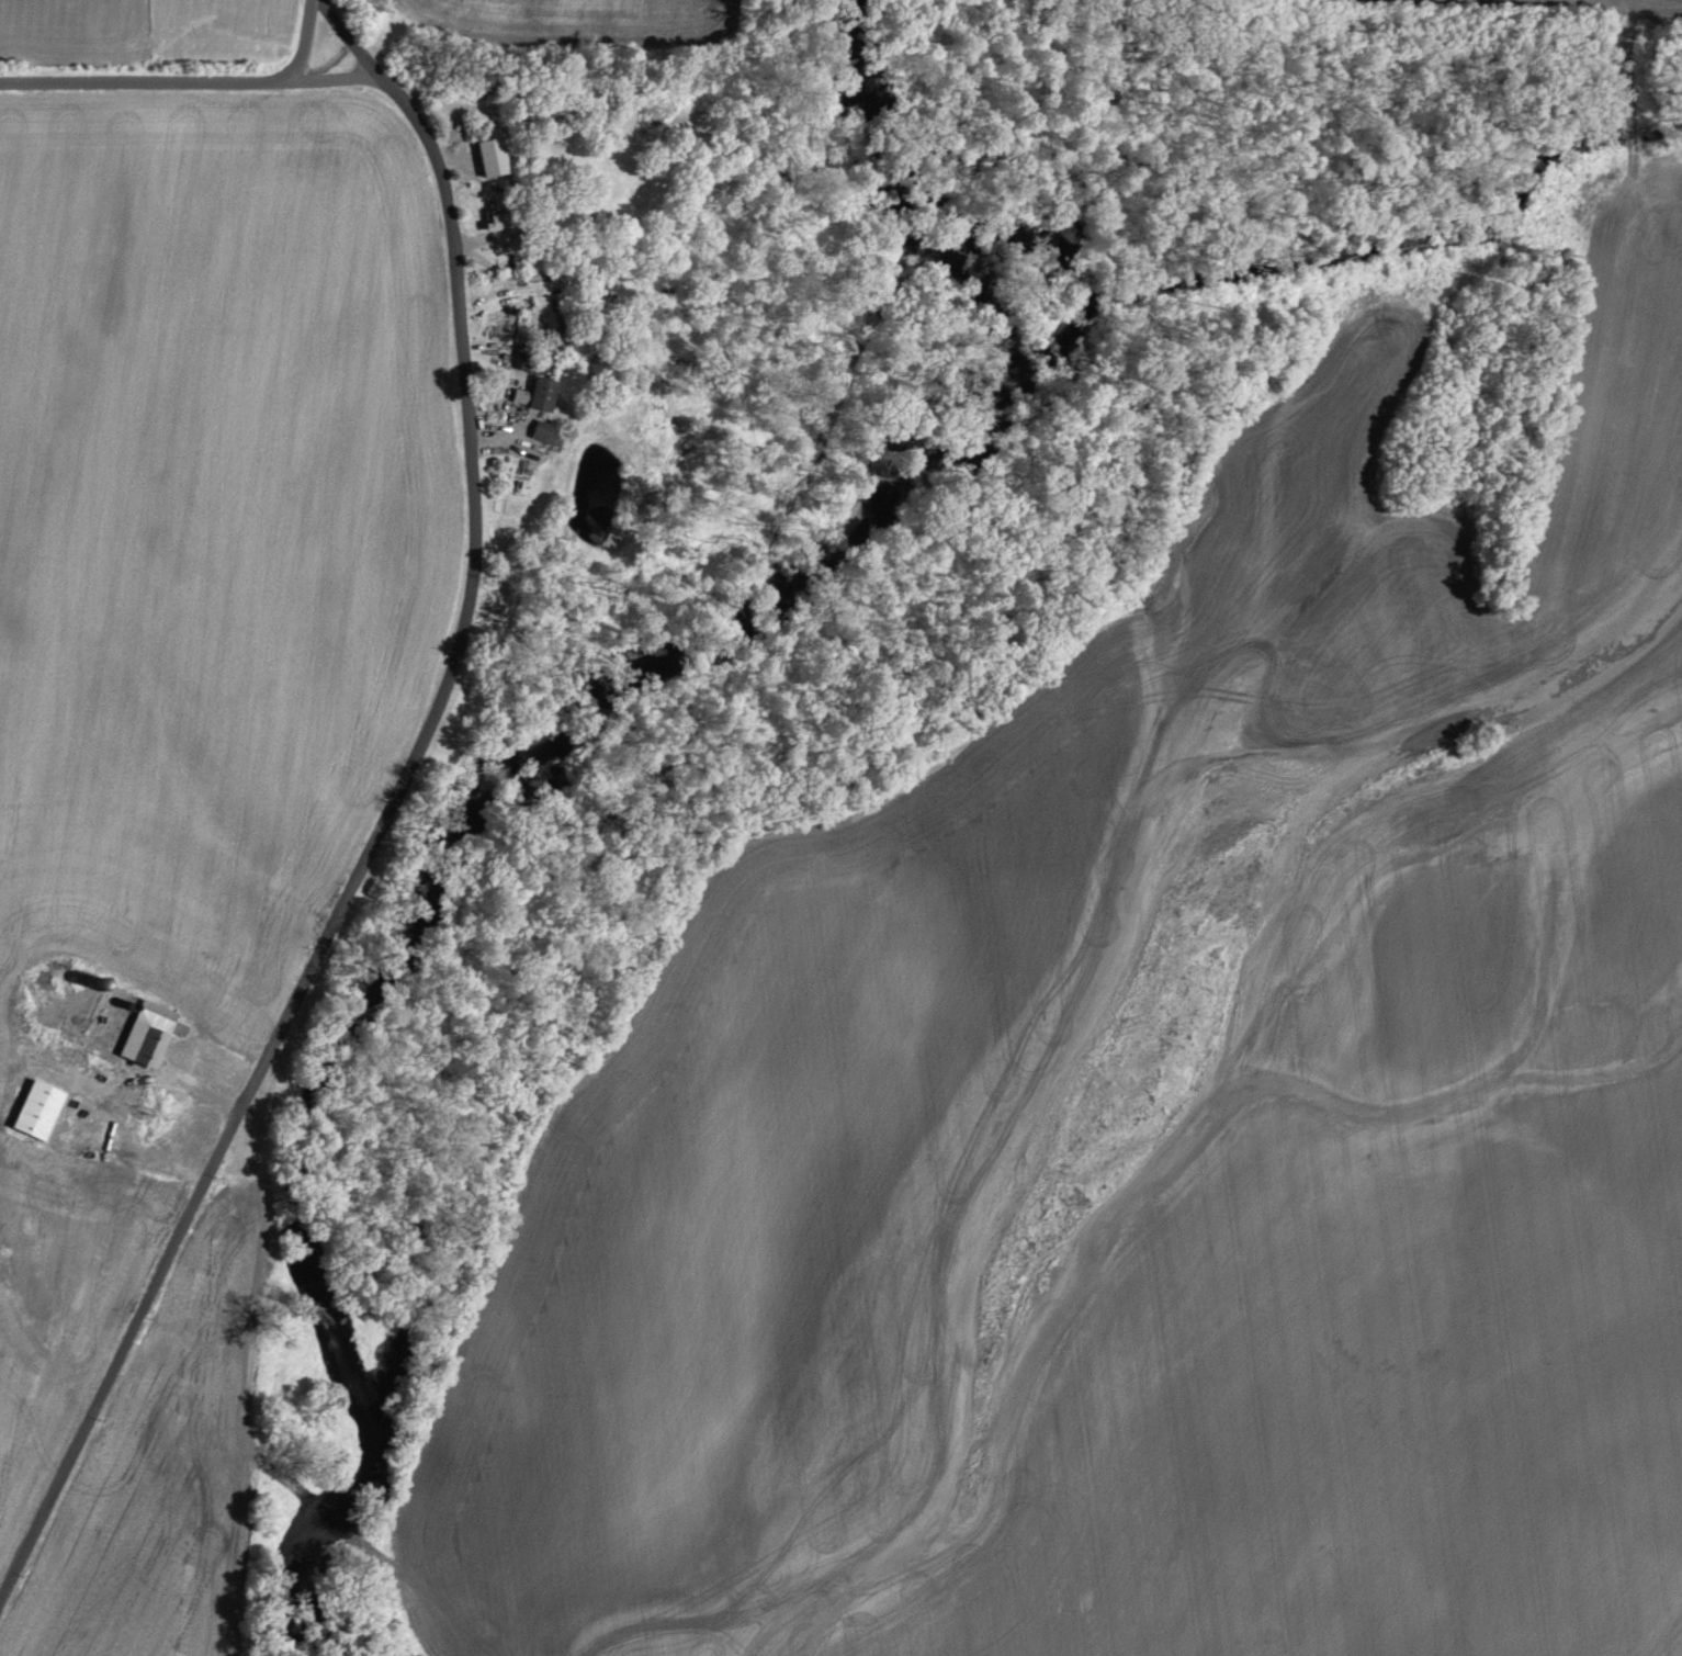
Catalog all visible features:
road: (303, 41)
road: (362, 47)
road: (190, 80)
building: (497, 155)
building: (508, 219)
building: (542, 392)
building: (549, 429)
road: (360, 870)
building: (155, 1033)
building: (43, 1109)

